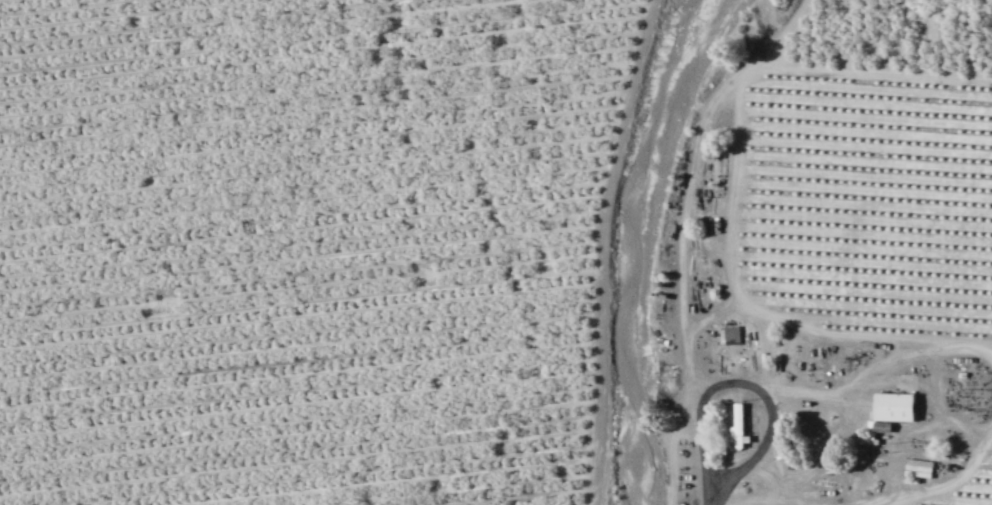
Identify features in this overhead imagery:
road: (603, 249)
road: (752, 312)
building: (731, 335)
building: (892, 407)
building: (918, 467)
road: (935, 489)

